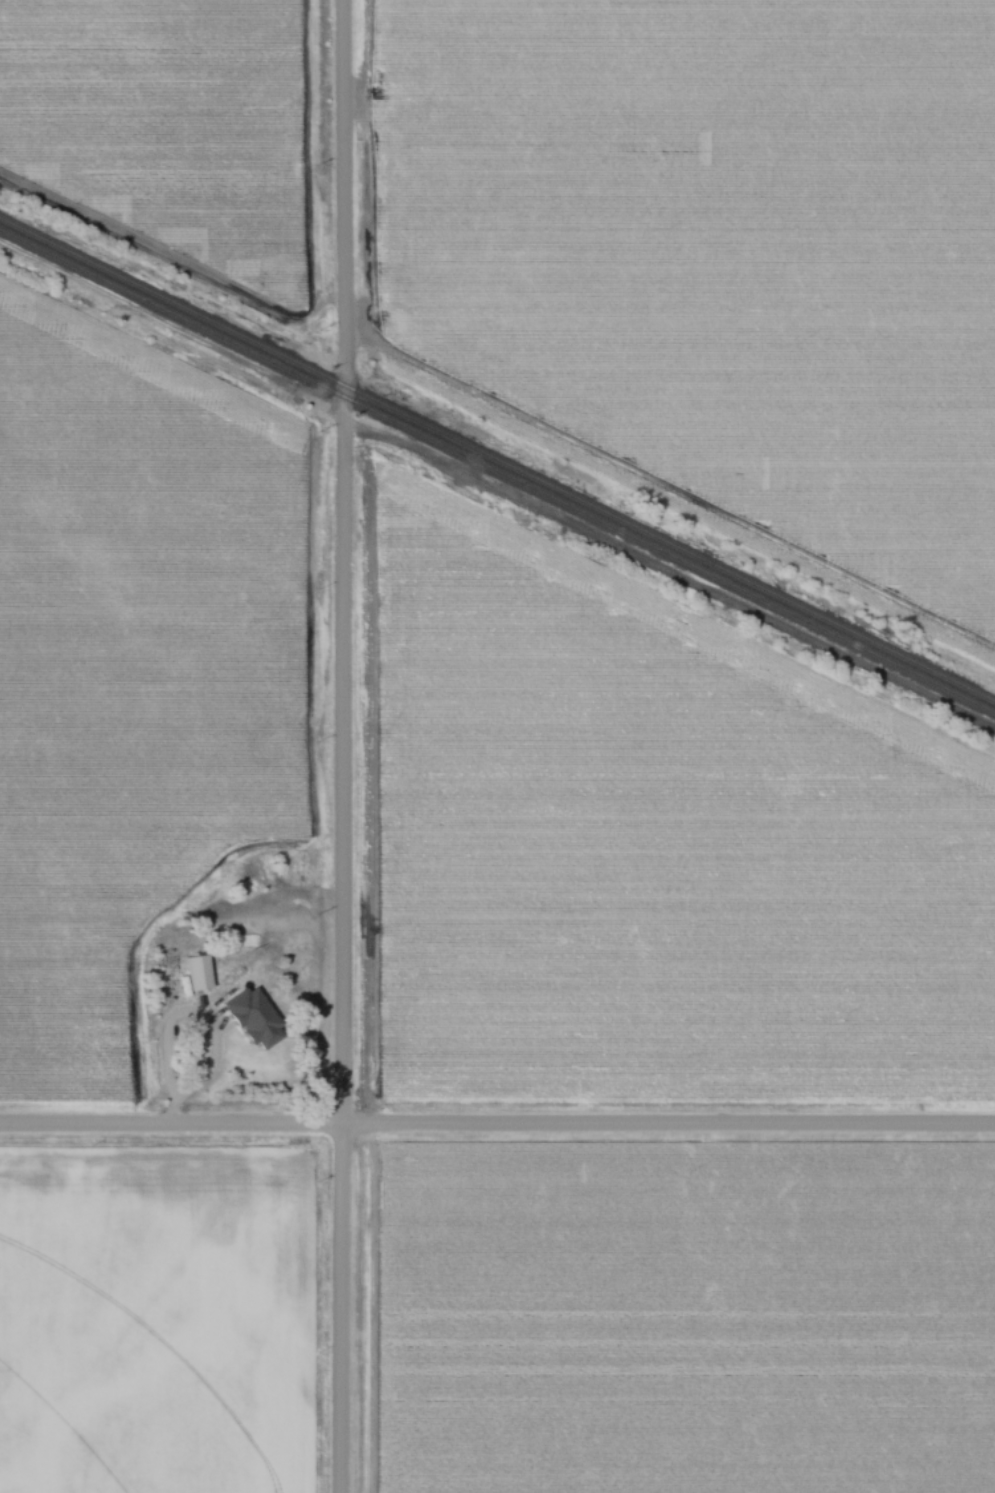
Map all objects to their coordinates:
railway: (497, 461)
railway: (497, 473)
road: (341, 746)
building: (287, 867)
road: (214, 1069)
road: (497, 1127)

